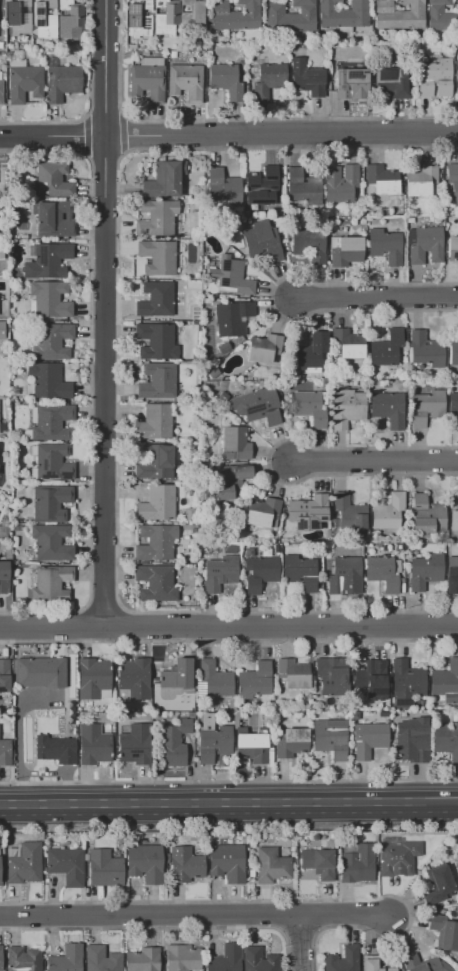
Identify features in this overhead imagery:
building: (343, 13)
building: (234, 15)
building: (398, 15)
building: (441, 16)
building: (17, 17)
building: (69, 17)
building: (290, 17)
building: (45, 18)
building: (166, 18)
building: (140, 20)
building: (191, 20)
building: (344, 29)
building: (455, 45)
building: (144, 53)
building: (173, 54)
building: (208, 54)
building: (17, 63)
building: (3, 69)
building: (456, 74)
building: (306, 78)
building: (435, 78)
building: (147, 79)
building: (269, 80)
building: (226, 81)
building: (62, 82)
building: (185, 82)
building: (350, 82)
building: (24, 83)
building: (391, 83)
building: (1, 92)
road: (89, 101)
road: (103, 115)
road: (231, 119)
road: (122, 133)
road: (228, 134)
road: (85, 135)
road: (105, 153)
building: (164, 179)
building: (53, 180)
building: (380, 180)
building: (452, 180)
building: (262, 181)
building: (420, 181)
building: (340, 183)
building: (223, 187)
building: (303, 187)
building: (297, 206)
building: (383, 212)
building: (247, 213)
building: (156, 218)
building: (53, 219)
building: (262, 240)
building: (308, 244)
building: (425, 244)
building: (384, 245)
building: (453, 247)
building: (347, 252)
building: (1, 253)
building: (157, 257)
building: (48, 261)
building: (231, 277)
road: (375, 296)
road: (270, 297)
building: (49, 299)
building: (155, 299)
road: (104, 313)
building: (232, 318)
building: (2, 330)
building: (155, 341)
building: (51, 342)
building: (346, 345)
building: (223, 348)
building: (263, 348)
building: (386, 348)
building: (425, 348)
building: (310, 351)
building: (453, 351)
building: (213, 372)
road: (89, 380)
road: (116, 380)
building: (46, 381)
building: (157, 381)
building: (284, 387)
building: (222, 397)
building: (453, 405)
building: (257, 406)
building: (426, 407)
building: (309, 408)
building: (346, 408)
building: (387, 408)
building: (50, 422)
building: (154, 422)
building: (234, 443)
road: (266, 460)
road: (373, 460)
building: (51, 462)
building: (155, 462)
building: (231, 482)
building: (51, 504)
building: (157, 504)
building: (263, 512)
building: (307, 512)
building: (388, 512)
building: (347, 513)
building: (190, 514)
building: (426, 515)
building: (453, 517)
building: (4, 526)
building: (17, 528)
building: (193, 532)
building: (185, 537)
building: (51, 542)
building: (156, 542)
building: (275, 546)
building: (379, 548)
building: (232, 550)
building: (248, 552)
building: (266, 553)
building: (452, 567)
building: (424, 571)
building: (299, 572)
building: (219, 573)
building: (260, 573)
building: (342, 573)
building: (381, 573)
building: (3, 577)
building: (400, 581)
building: (48, 583)
building: (155, 583)
road: (229, 625)
road: (228, 640)
building: (41, 672)
building: (177, 674)
building: (293, 674)
building: (332, 675)
building: (134, 677)
building: (4, 679)
building: (93, 679)
building: (371, 679)
building: (213, 680)
building: (254, 680)
building: (406, 682)
building: (446, 682)
building: (121, 716)
building: (147, 716)
building: (354, 716)
building: (71, 717)
building: (235, 718)
building: (153, 723)
road: (19, 735)
building: (329, 737)
building: (211, 739)
building: (370, 739)
building: (411, 739)
building: (445, 739)
building: (173, 741)
building: (290, 742)
building: (93, 744)
building: (135, 744)
building: (253, 748)
building: (55, 749)
building: (5, 752)
road: (59, 772)
road: (228, 780)
road: (456, 804)
road: (227, 805)
road: (228, 824)
building: (366, 836)
building: (257, 840)
building: (298, 843)
building: (398, 858)
building: (144, 862)
building: (227, 862)
building: (24, 863)
building: (318, 863)
building: (335, 863)
building: (357, 863)
building: (66, 865)
building: (185, 865)
building: (271, 865)
building: (104, 868)
building: (0, 871)
building: (251, 873)
building: (437, 885)
road: (287, 900)
road: (279, 915)
road: (318, 915)
road: (344, 915)
road: (149, 916)
road: (161, 926)
road: (299, 931)
building: (444, 931)
road: (299, 943)
building: (182, 958)
building: (23, 959)
building: (66, 959)
building: (101, 959)
building: (142, 959)
building: (226, 959)
building: (343, 959)
building: (258, 960)
building: (0, 962)
building: (374, 964)
building: (423, 964)

